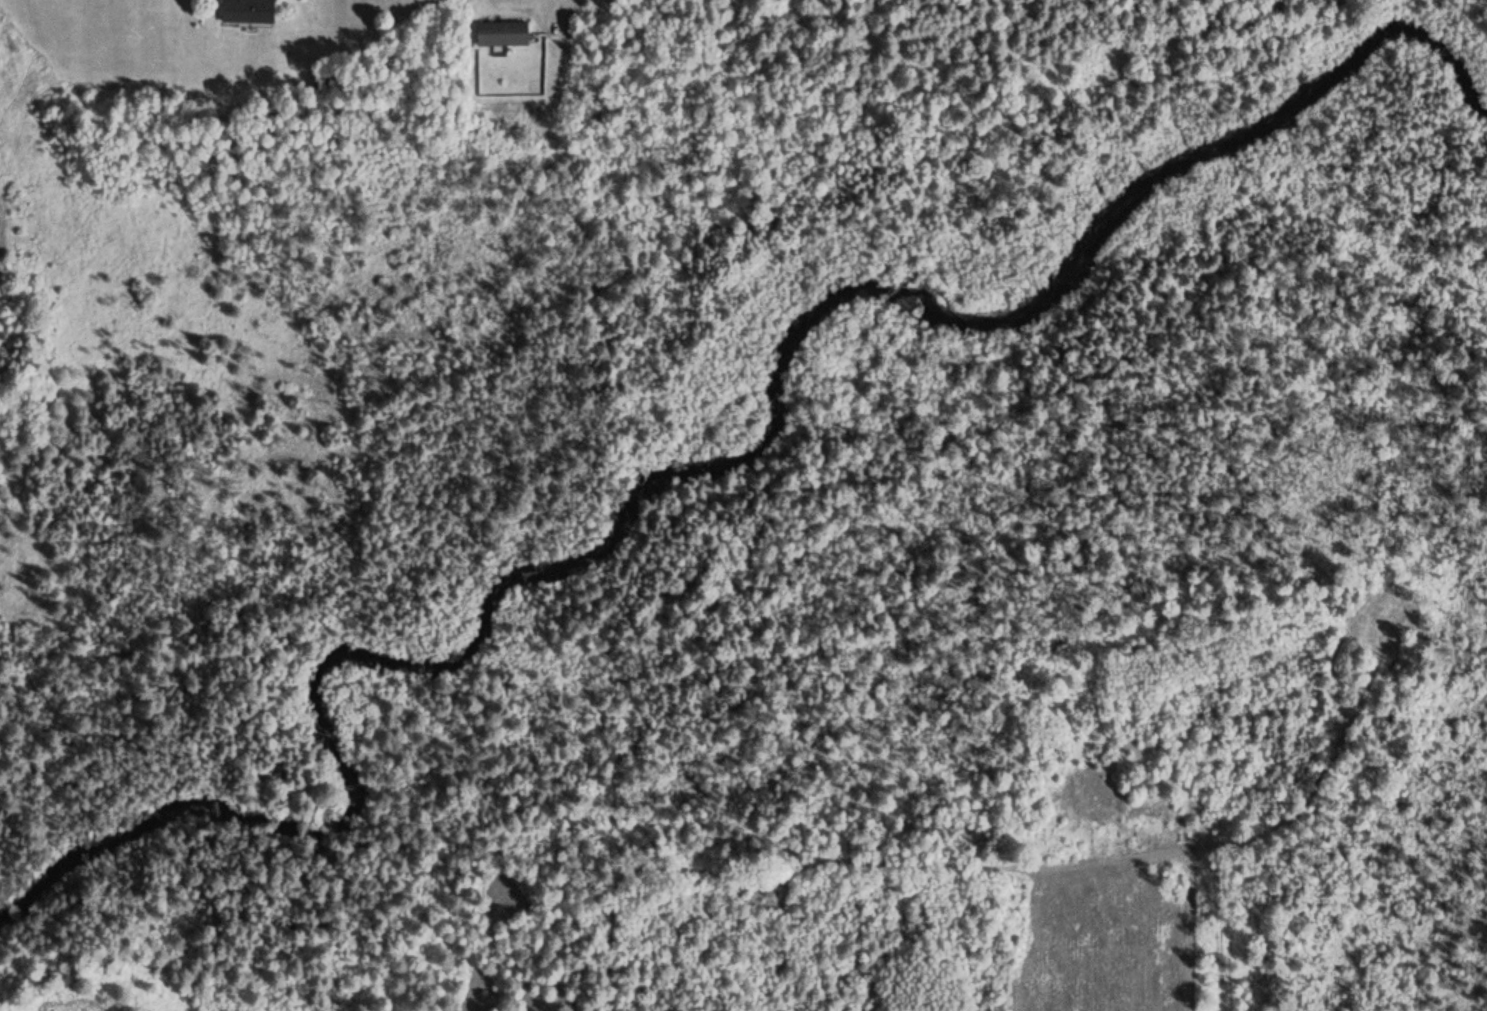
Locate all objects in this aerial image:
building: (245, 12)
building: (499, 33)

